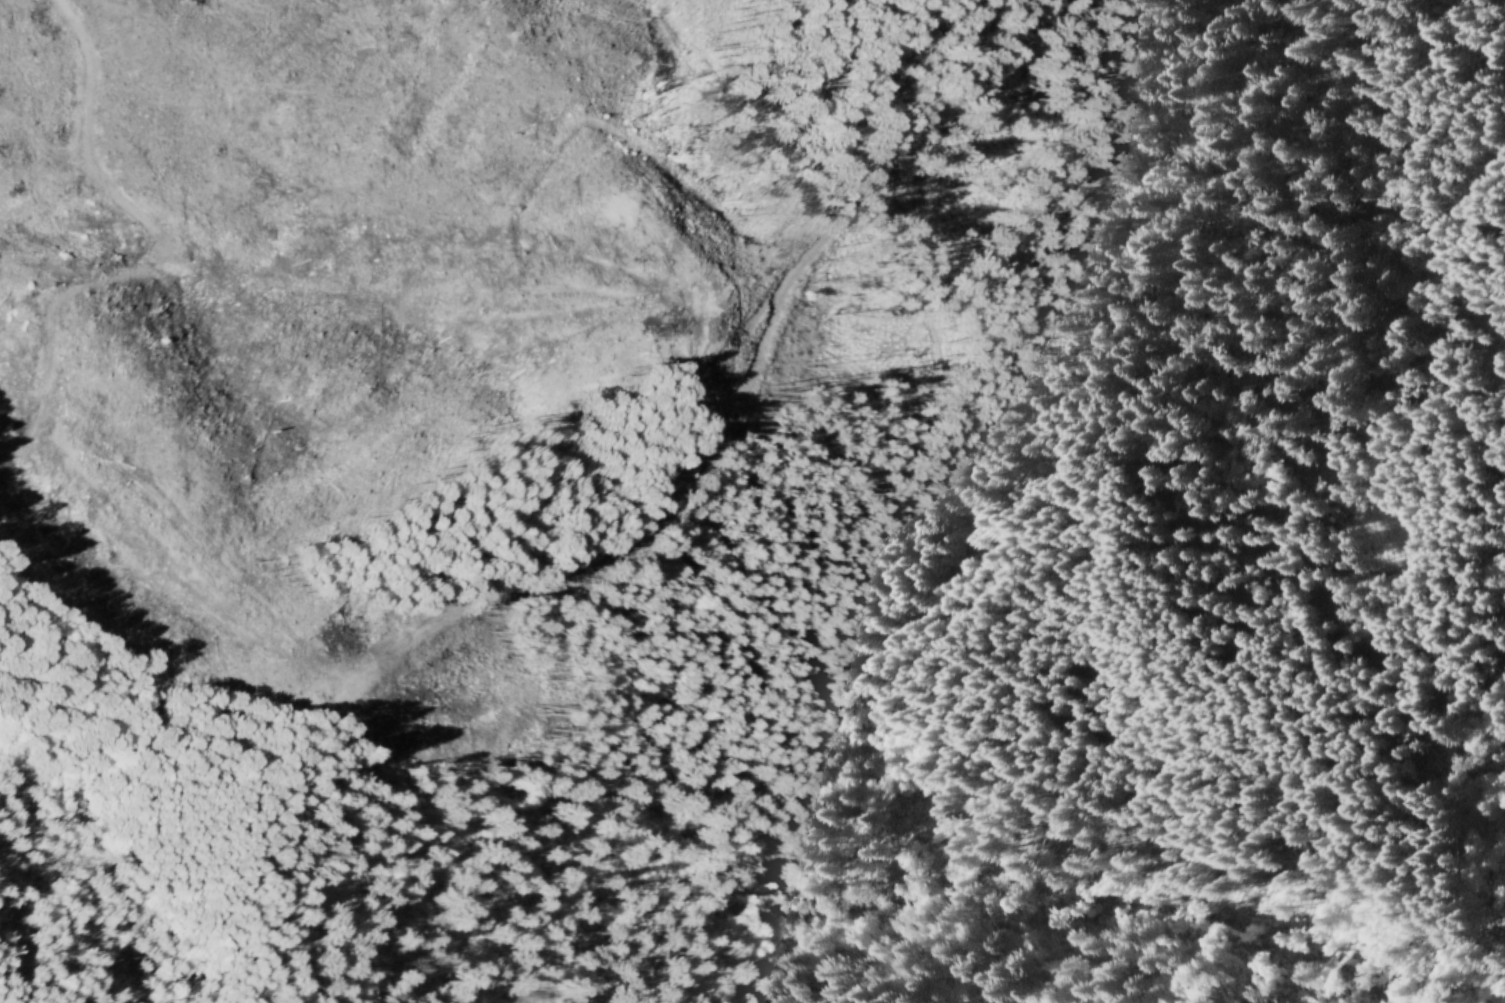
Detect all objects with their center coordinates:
road: (1377, 500)

